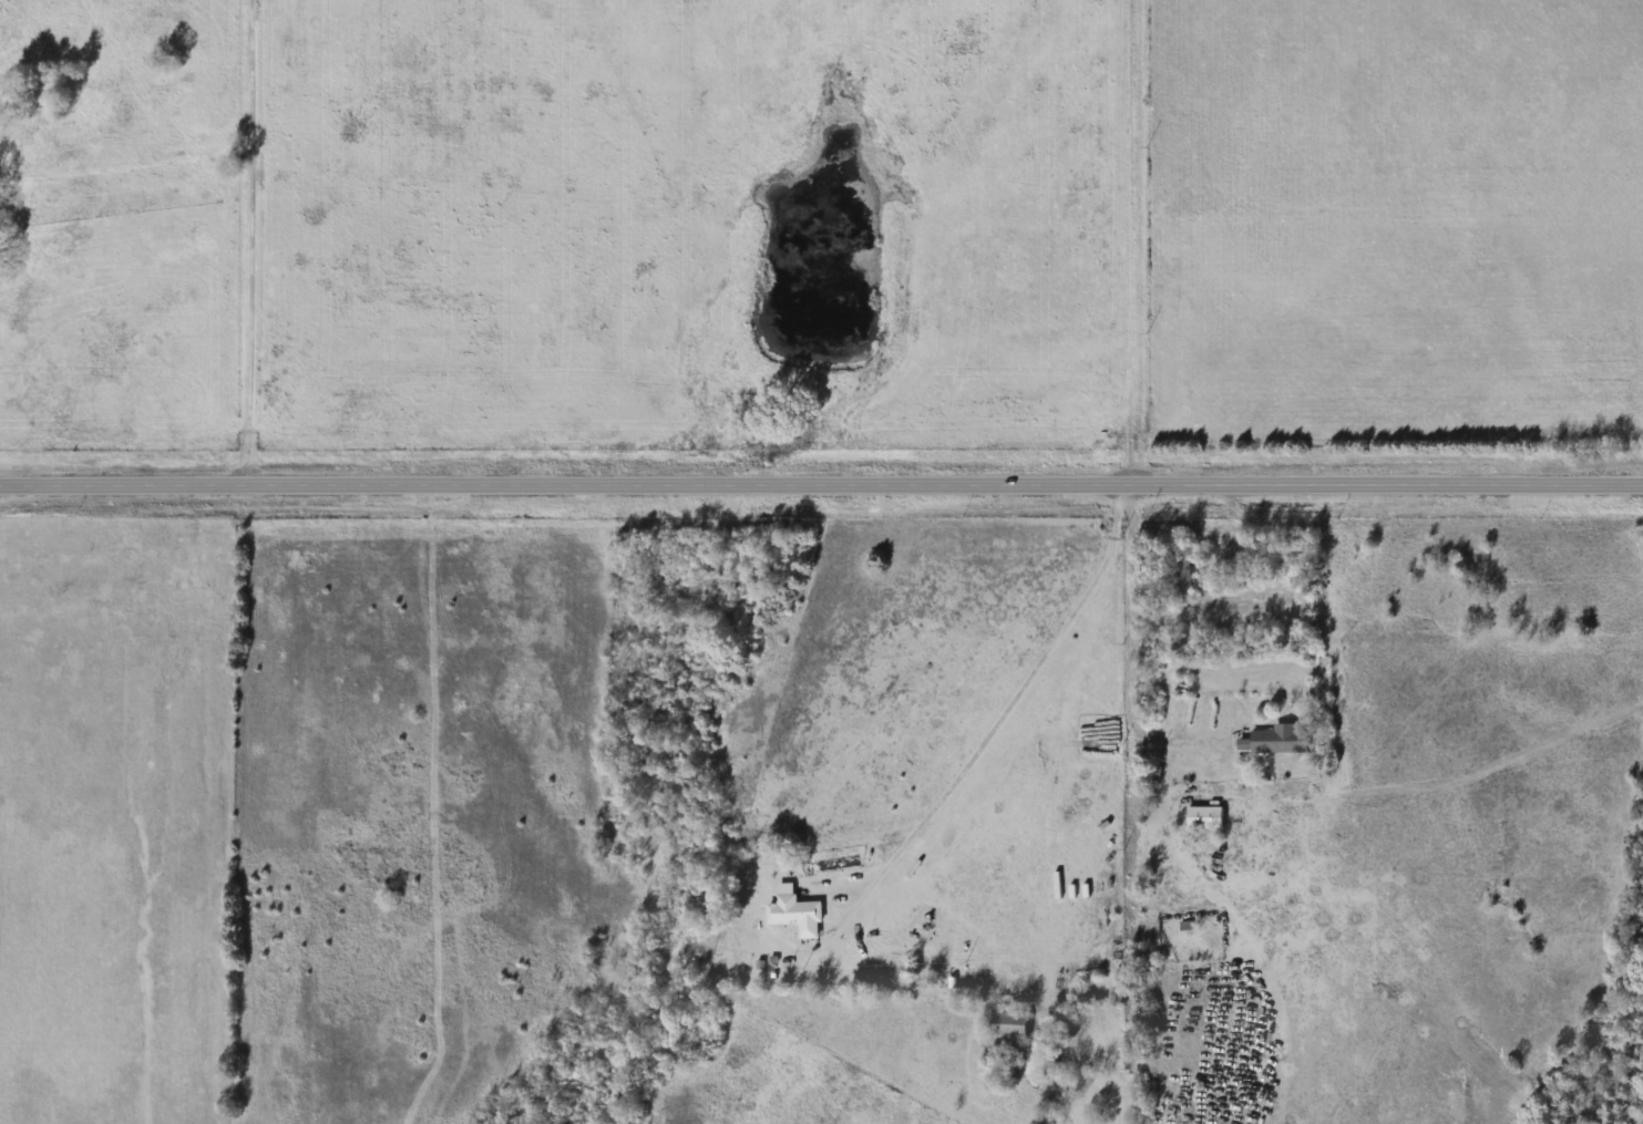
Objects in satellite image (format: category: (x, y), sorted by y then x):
road: (1136, 243)
road: (821, 486)
building: (1184, 579)
road: (1133, 676)
road: (1002, 725)
building: (1281, 741)
building: (1205, 817)
building: (795, 912)
building: (1010, 1025)
road: (715, 1111)

